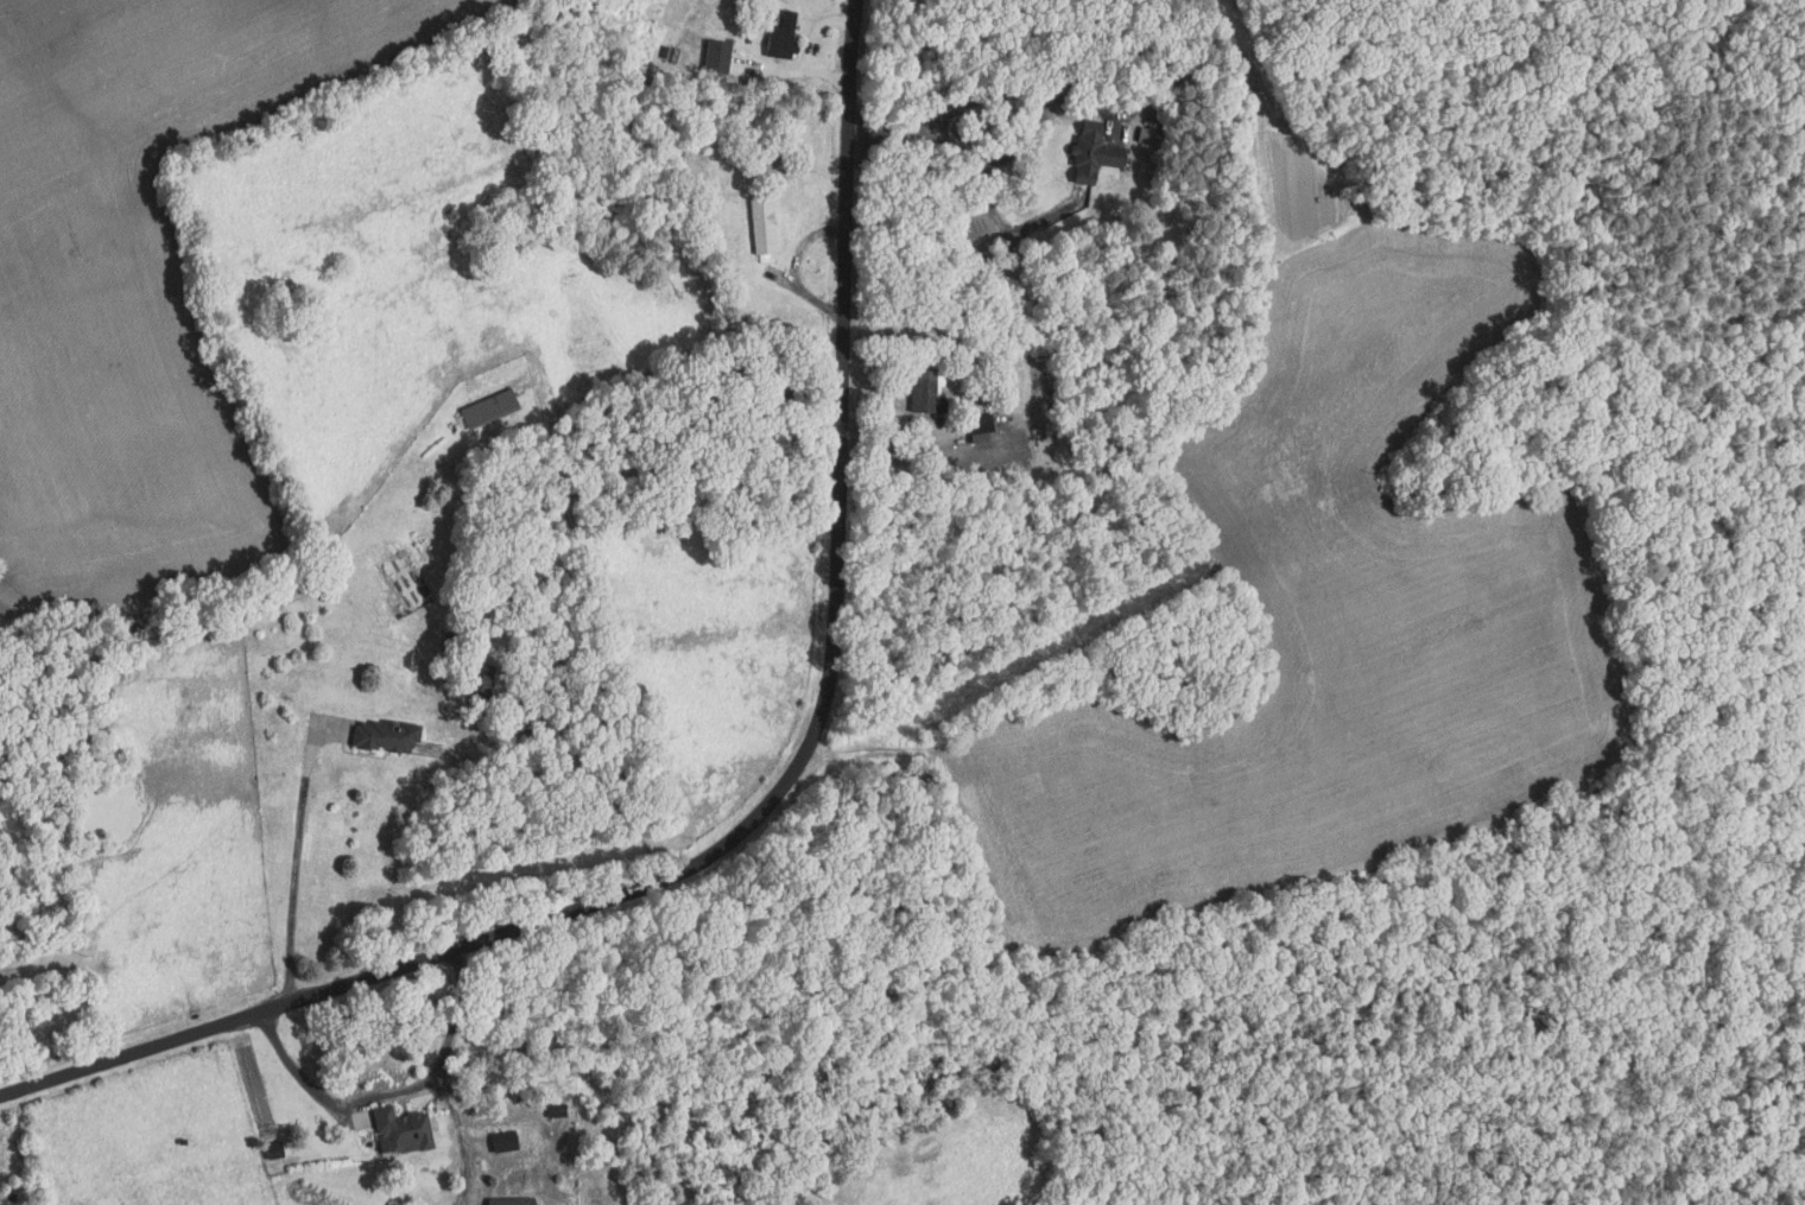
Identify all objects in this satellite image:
building: (781, 36)
road: (813, 44)
building: (1139, 50)
building: (664, 51)
building: (714, 56)
road: (982, 99)
building: (1145, 134)
building: (1091, 151)
building: (701, 223)
building: (762, 224)
road: (791, 266)
building: (748, 329)
building: (926, 350)
building: (769, 361)
building: (731, 374)
building: (924, 392)
building: (964, 392)
road: (812, 395)
building: (488, 408)
road: (888, 417)
building: (981, 427)
building: (1008, 444)
building: (450, 641)
building: (480, 679)
building: (384, 734)
road: (766, 807)
road: (294, 851)
road: (395, 1092)
building: (555, 1111)
building: (401, 1128)
building: (503, 1141)
building: (512, 1201)

